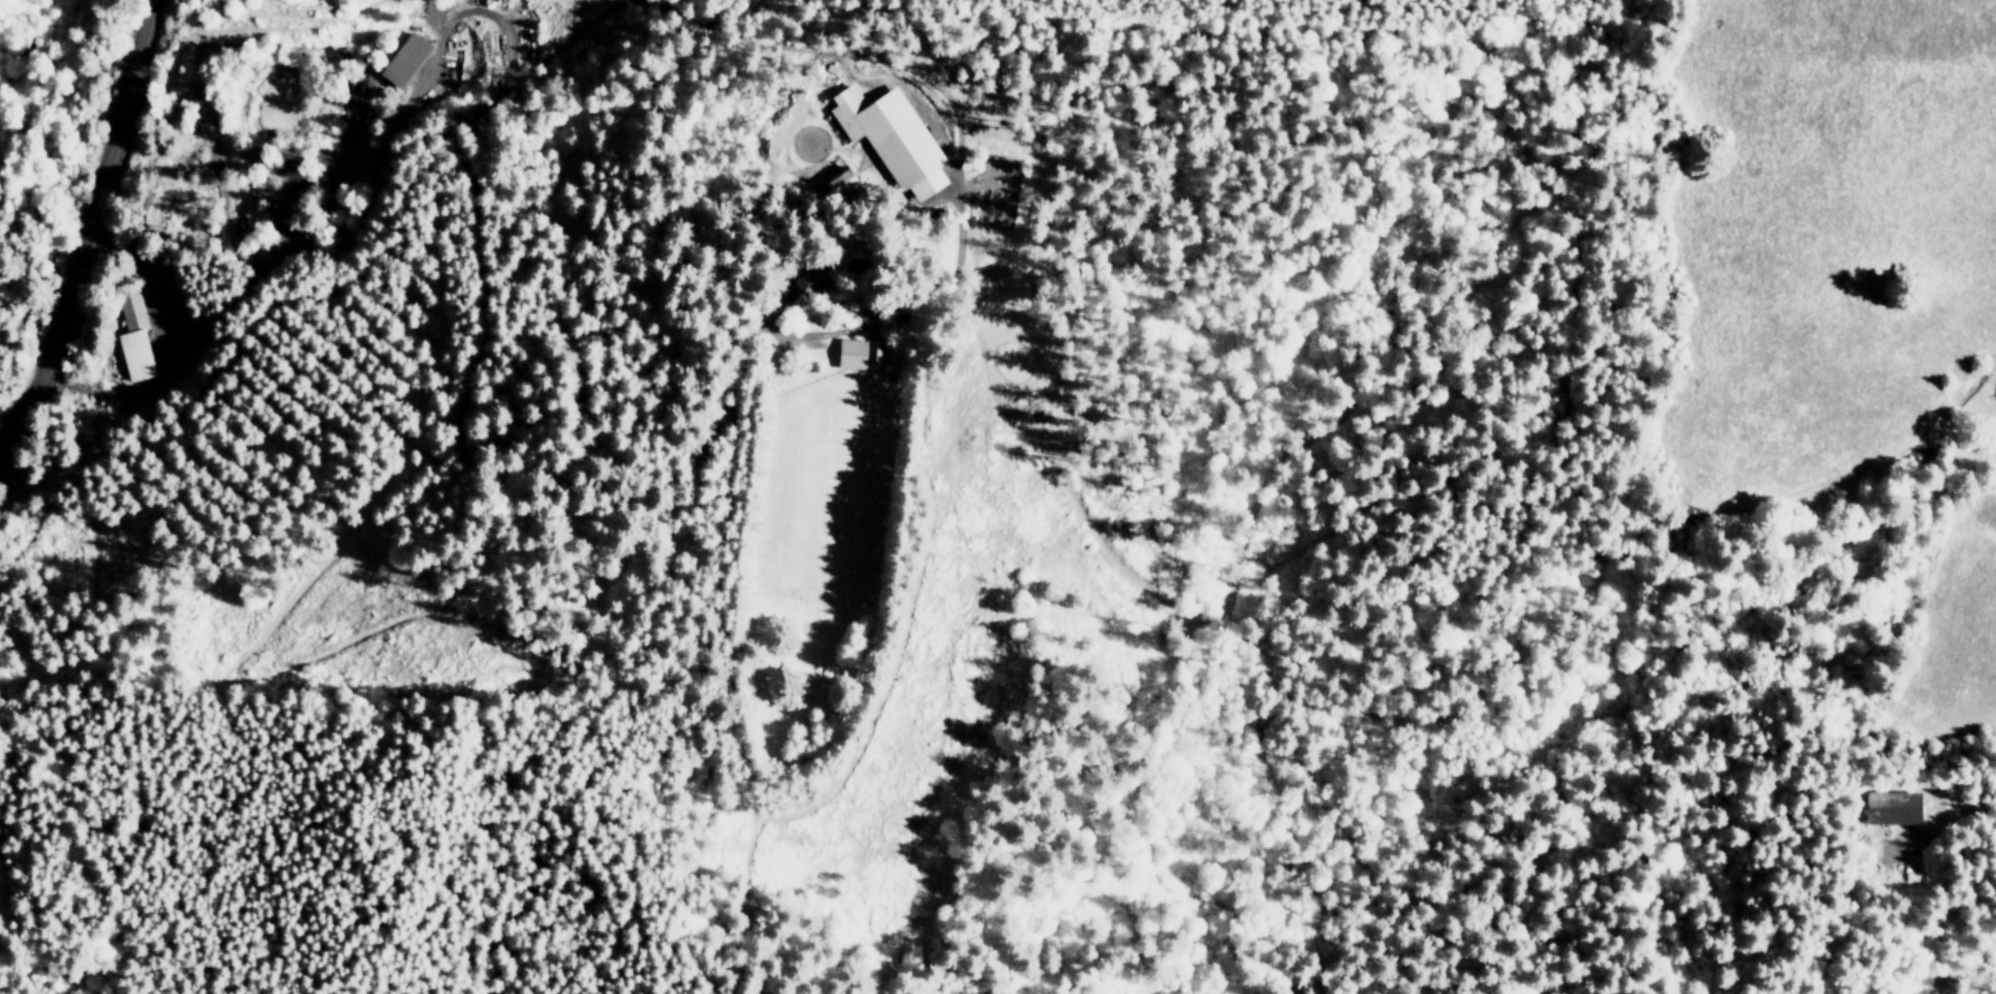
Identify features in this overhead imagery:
building: (404, 59)
building: (891, 137)
building: (839, 182)
building: (255, 209)
road: (89, 230)
building: (811, 278)
road: (477, 325)
building: (133, 336)
building: (859, 354)
road: (159, 375)
building: (1892, 805)
road: (1969, 805)

